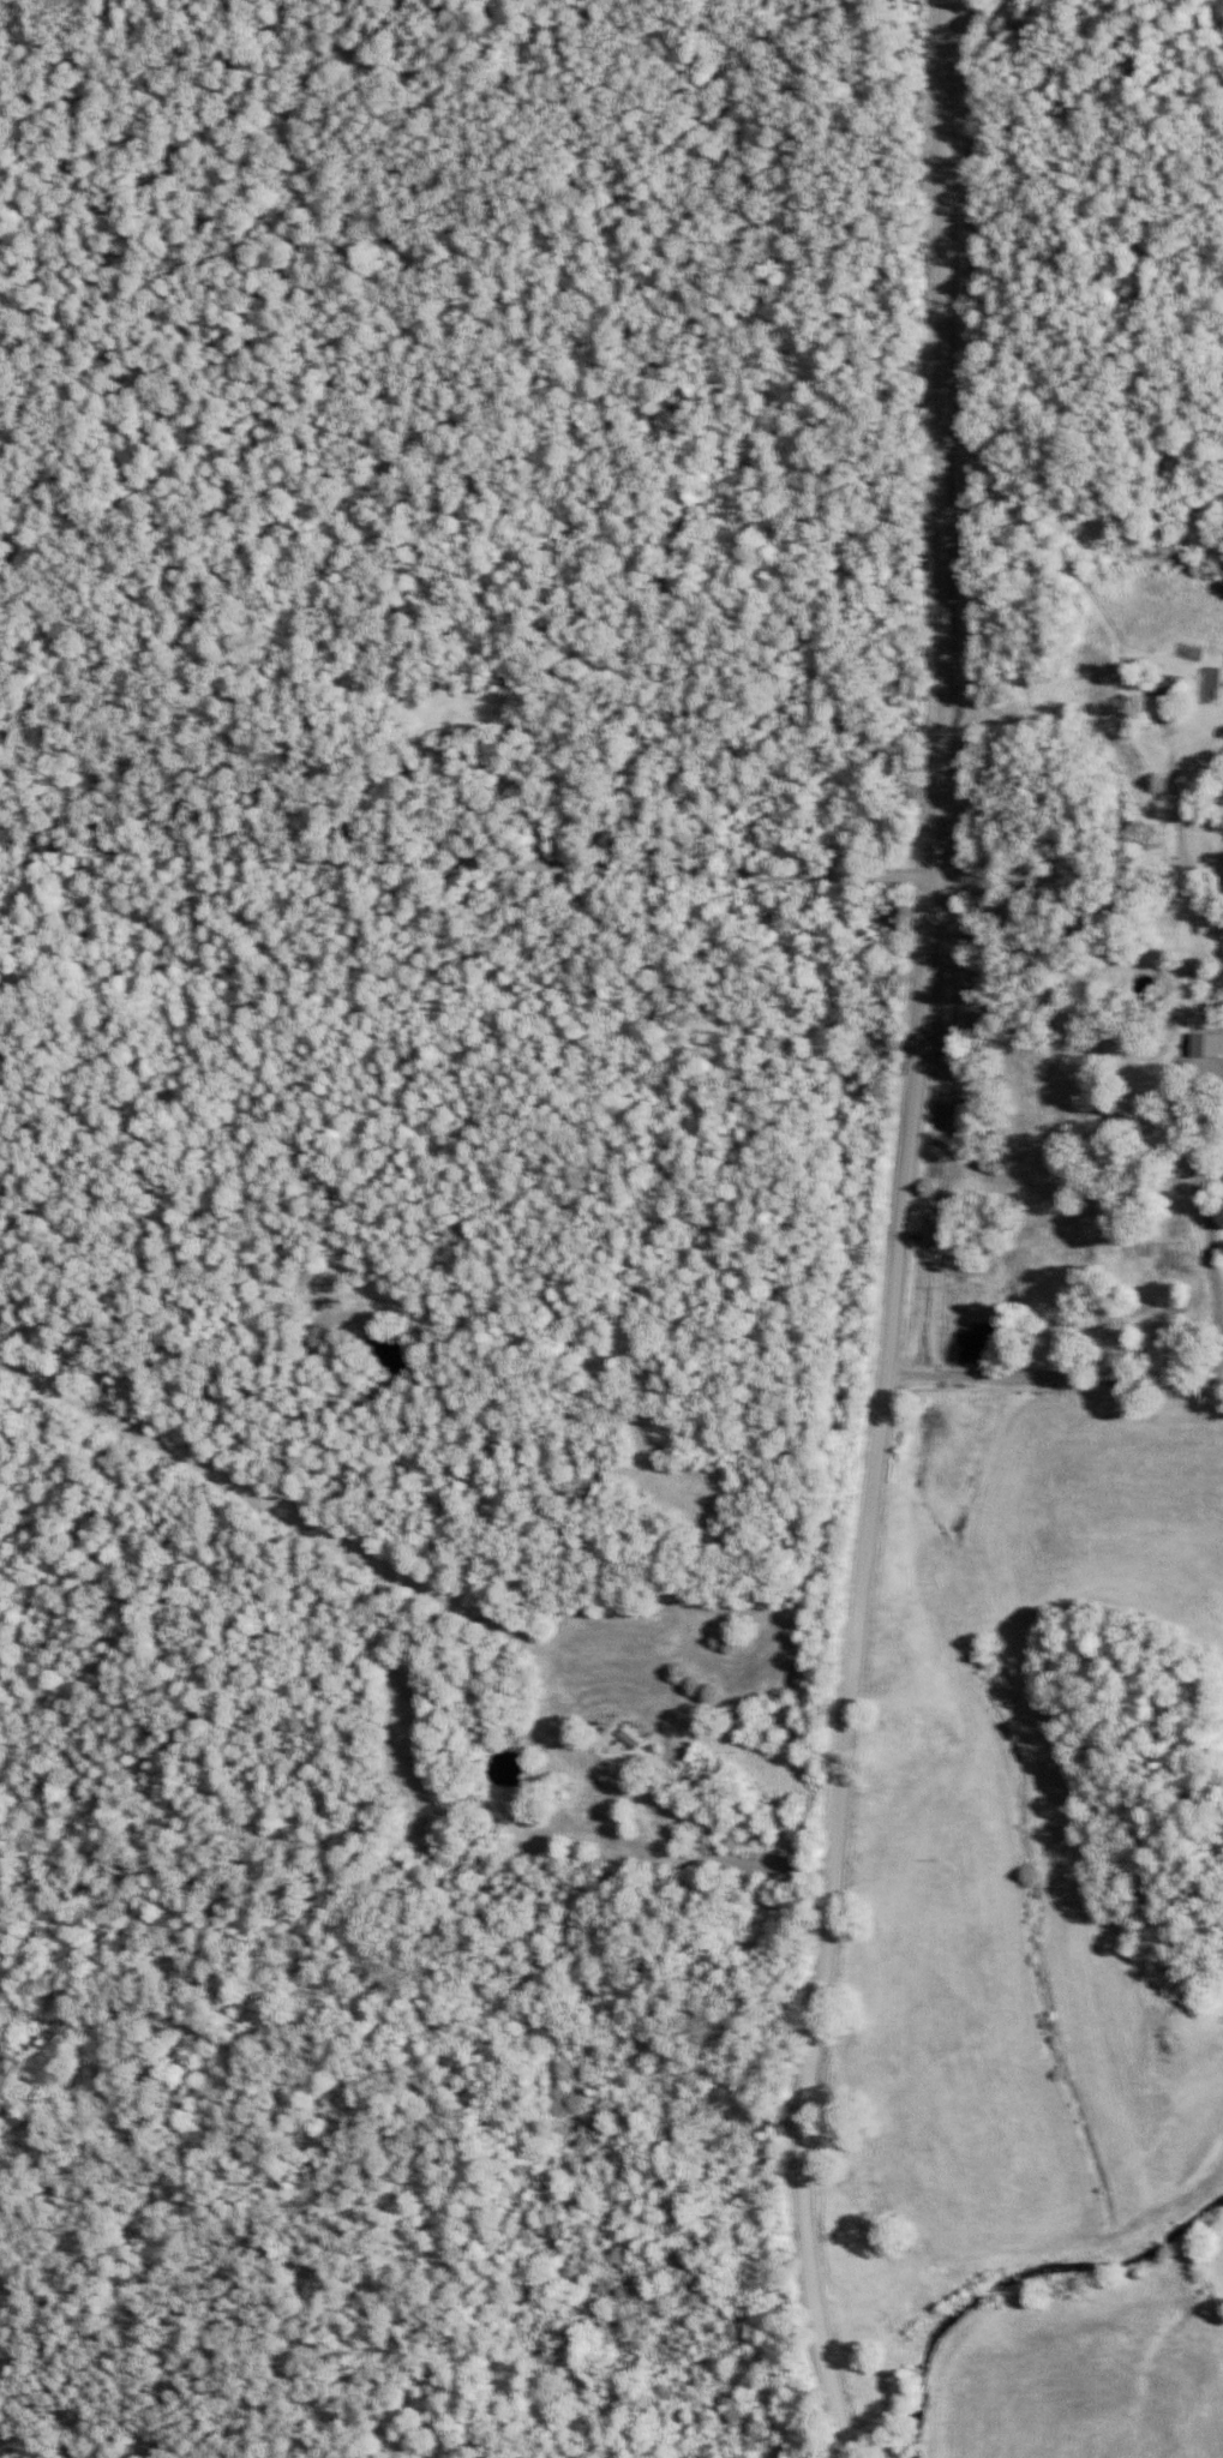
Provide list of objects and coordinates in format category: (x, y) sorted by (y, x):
building: (1167, 694)
road: (612, 868)
road: (895, 1231)
road: (1042, 1552)
building: (627, 1740)
park: (406, 2164)

